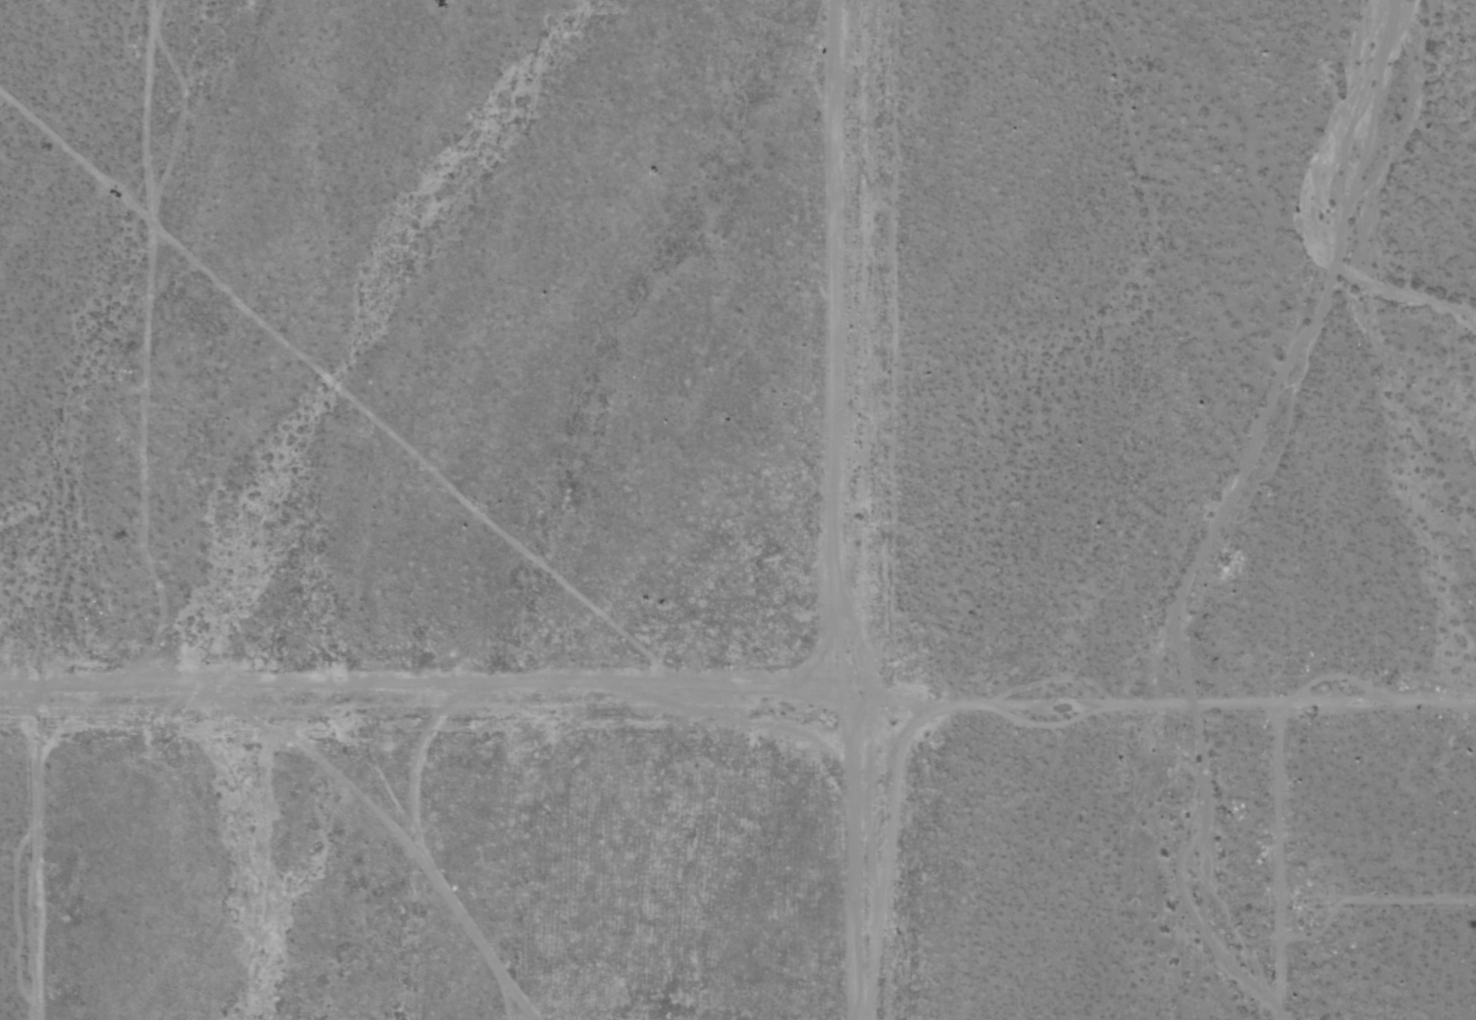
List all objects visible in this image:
road: (858, 509)
road: (15, 691)
road: (443, 694)
road: (1165, 700)
road: (31, 856)

